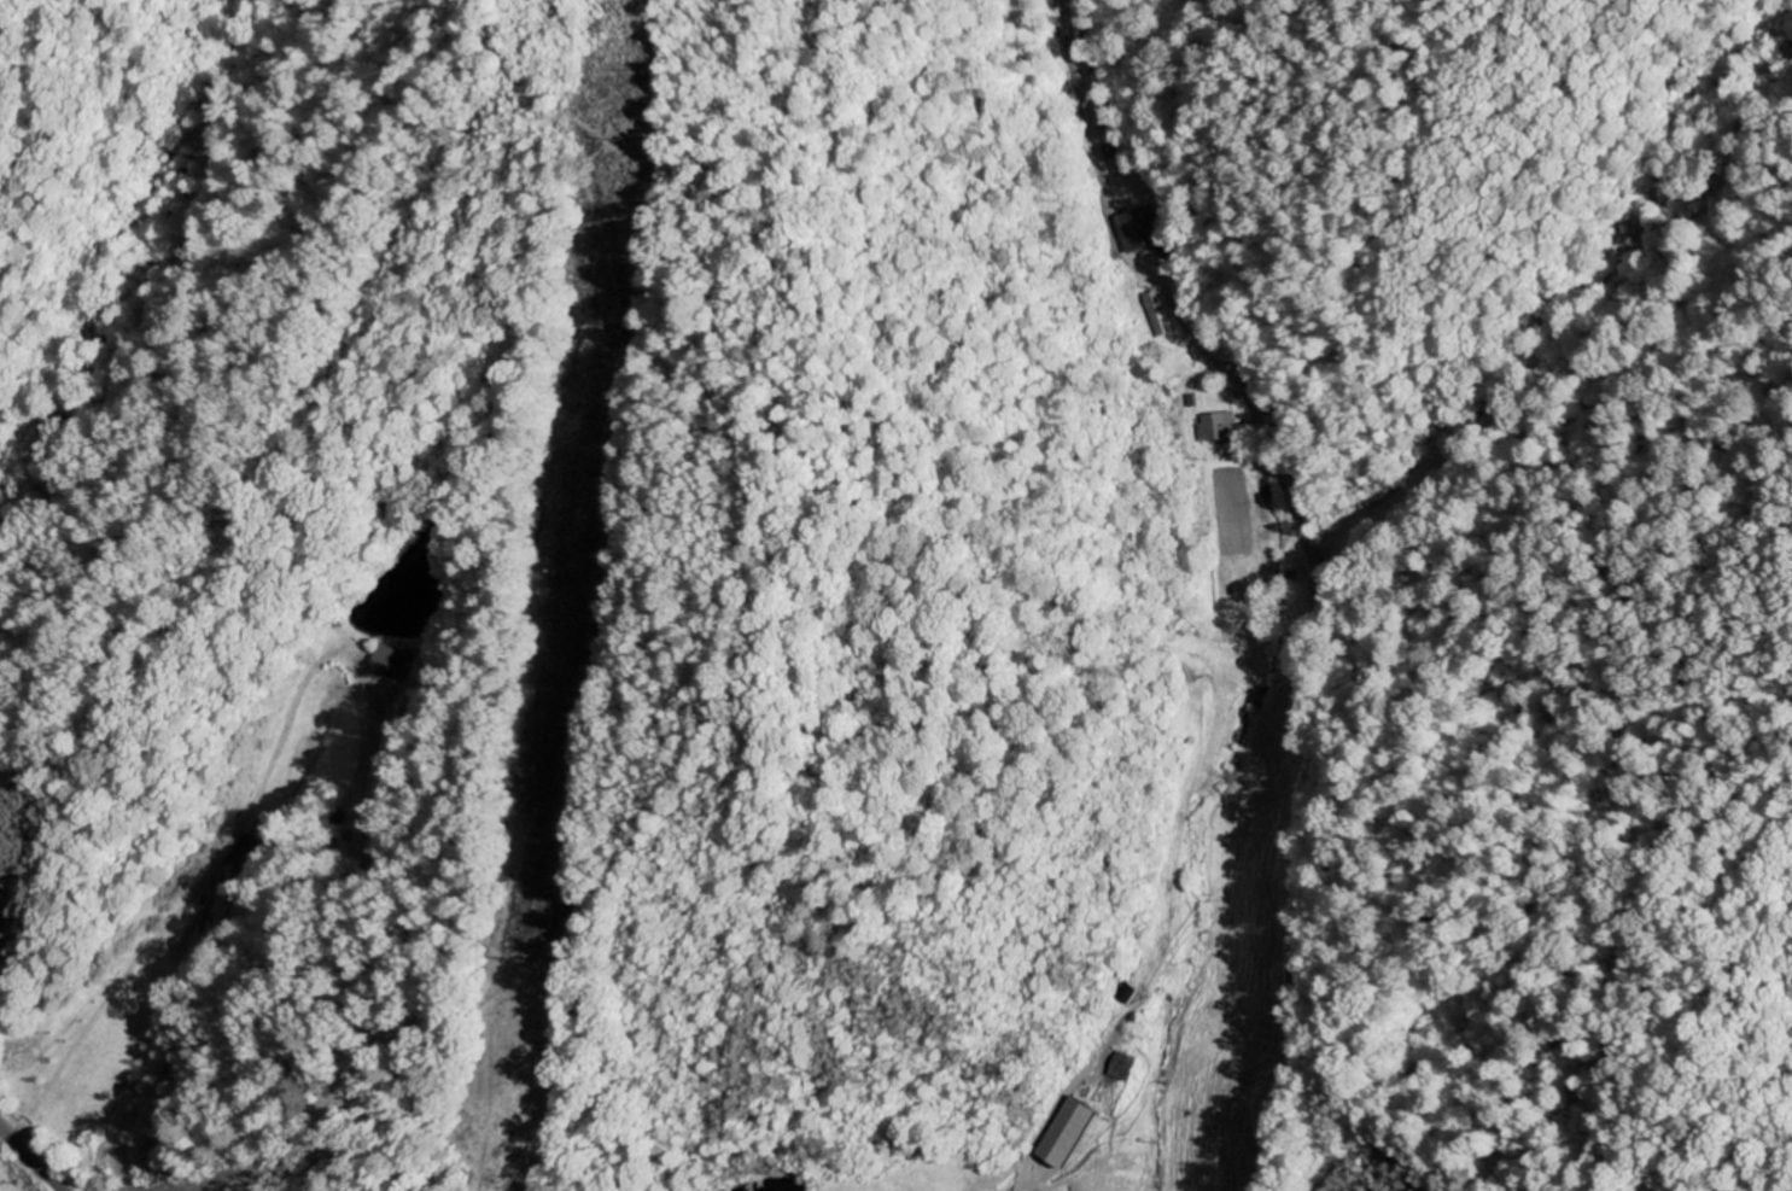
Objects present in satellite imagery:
road: (1091, 123)
building: (1140, 230)
building: (1218, 428)
building: (390, 660)
road: (1317, 690)
power tower: (507, 959)
building: (1125, 1068)
building: (1072, 1133)
road: (34, 1155)

